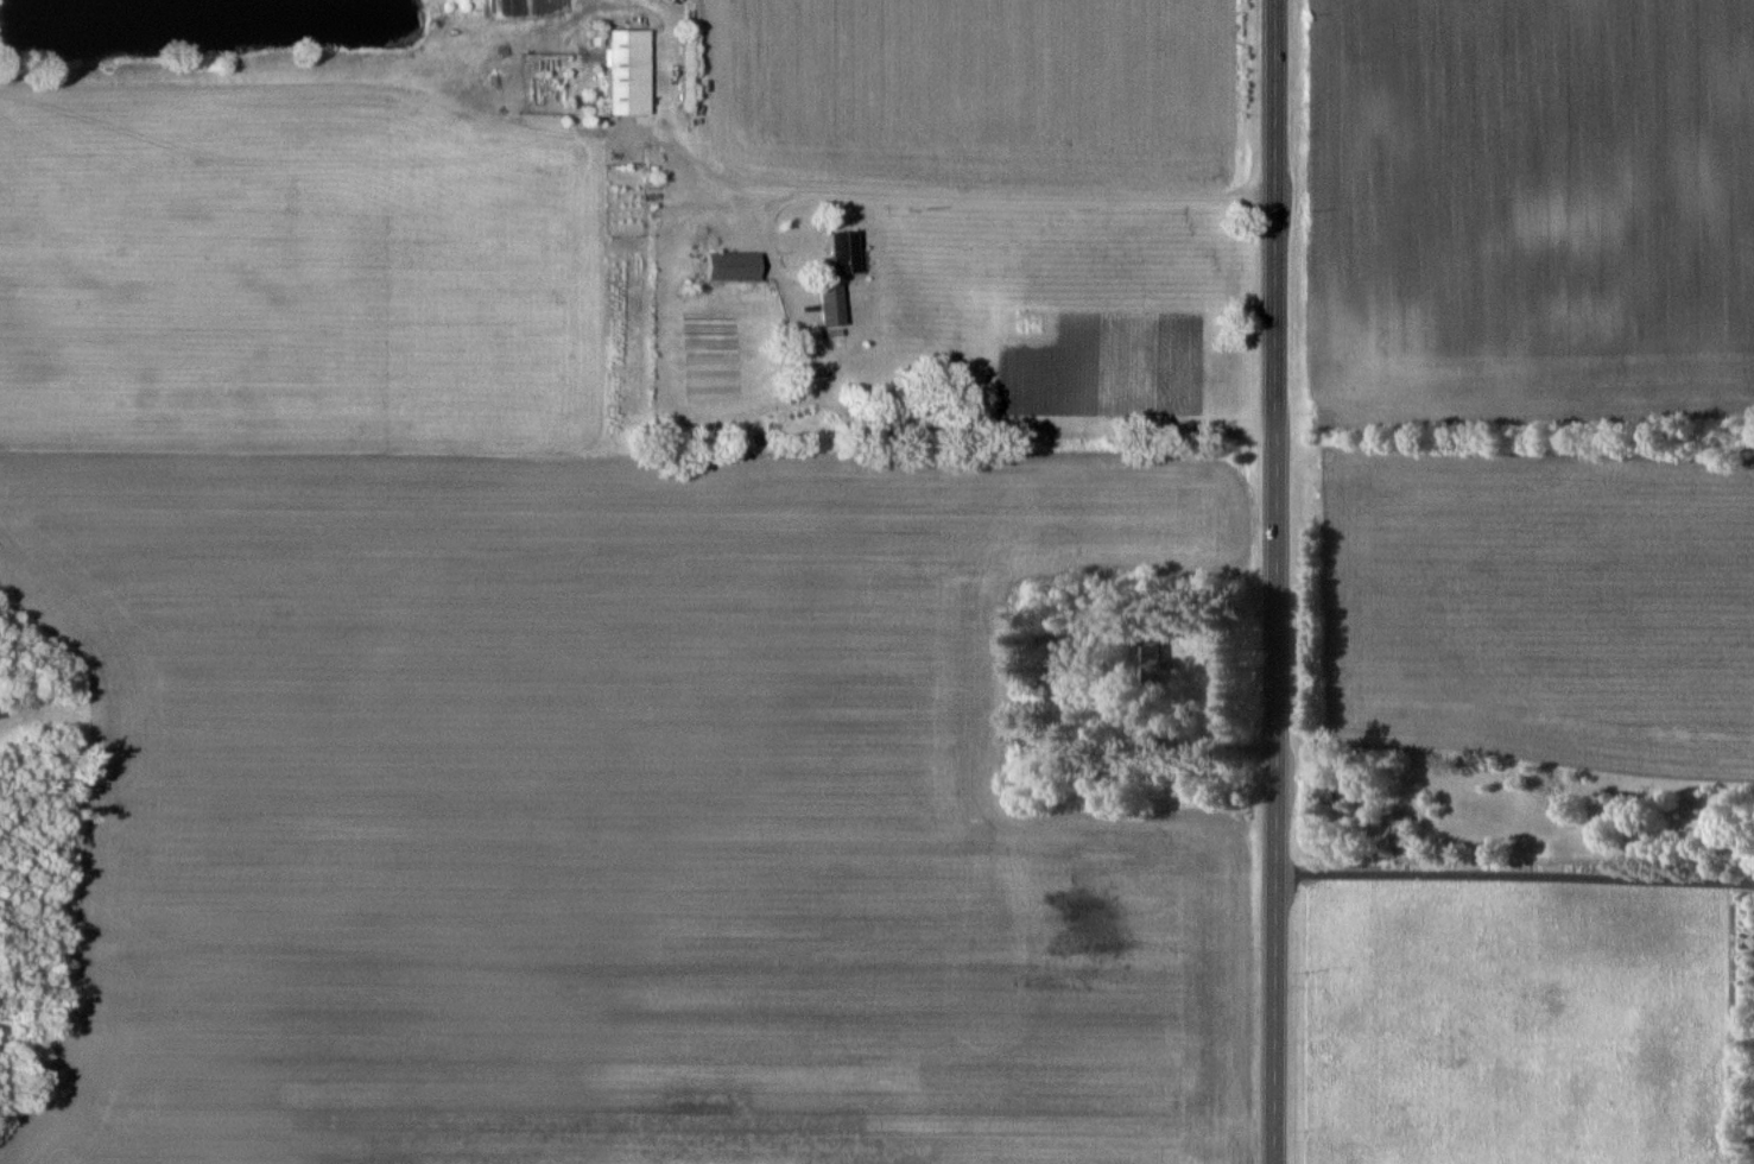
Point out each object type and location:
building: (627, 70)
road: (958, 192)
building: (846, 252)
building: (733, 265)
building: (831, 303)
road: (1265, 582)
building: (1152, 663)
building: (1329, 795)
building: (1395, 831)
road: (1509, 874)

